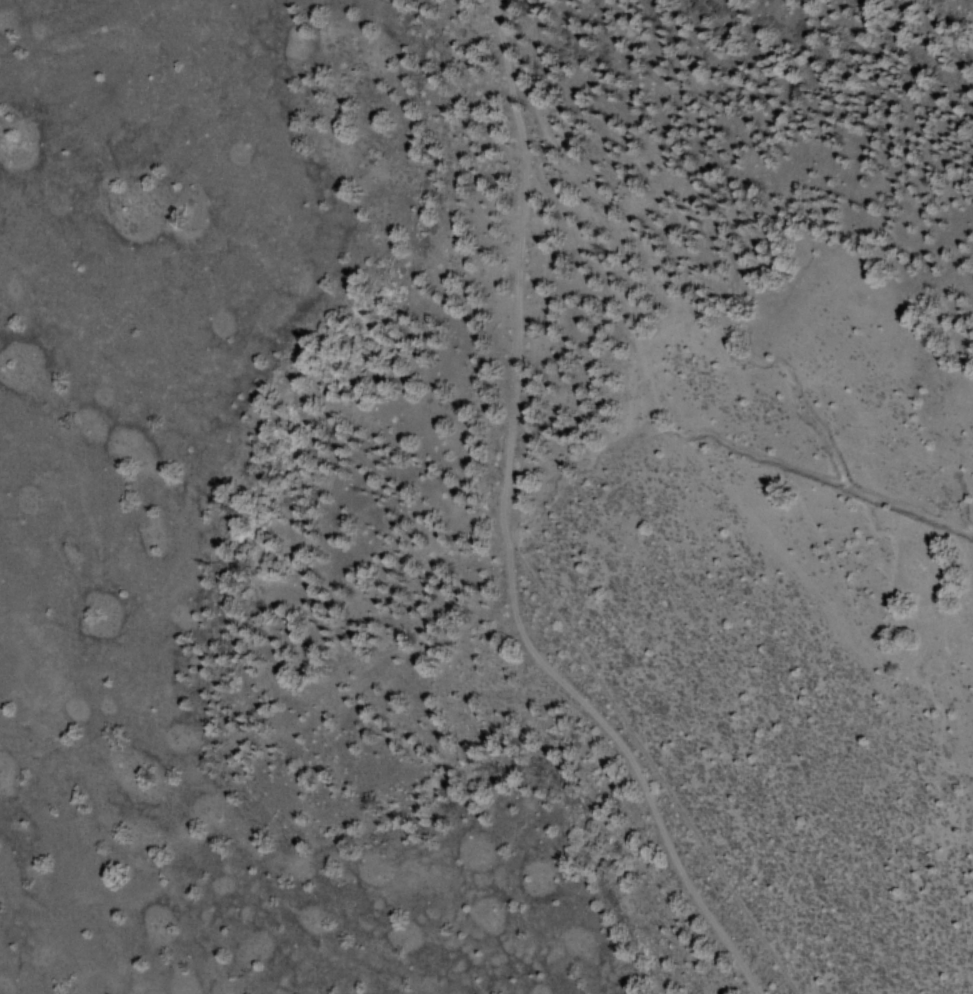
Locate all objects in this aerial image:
road: (504, 534)

